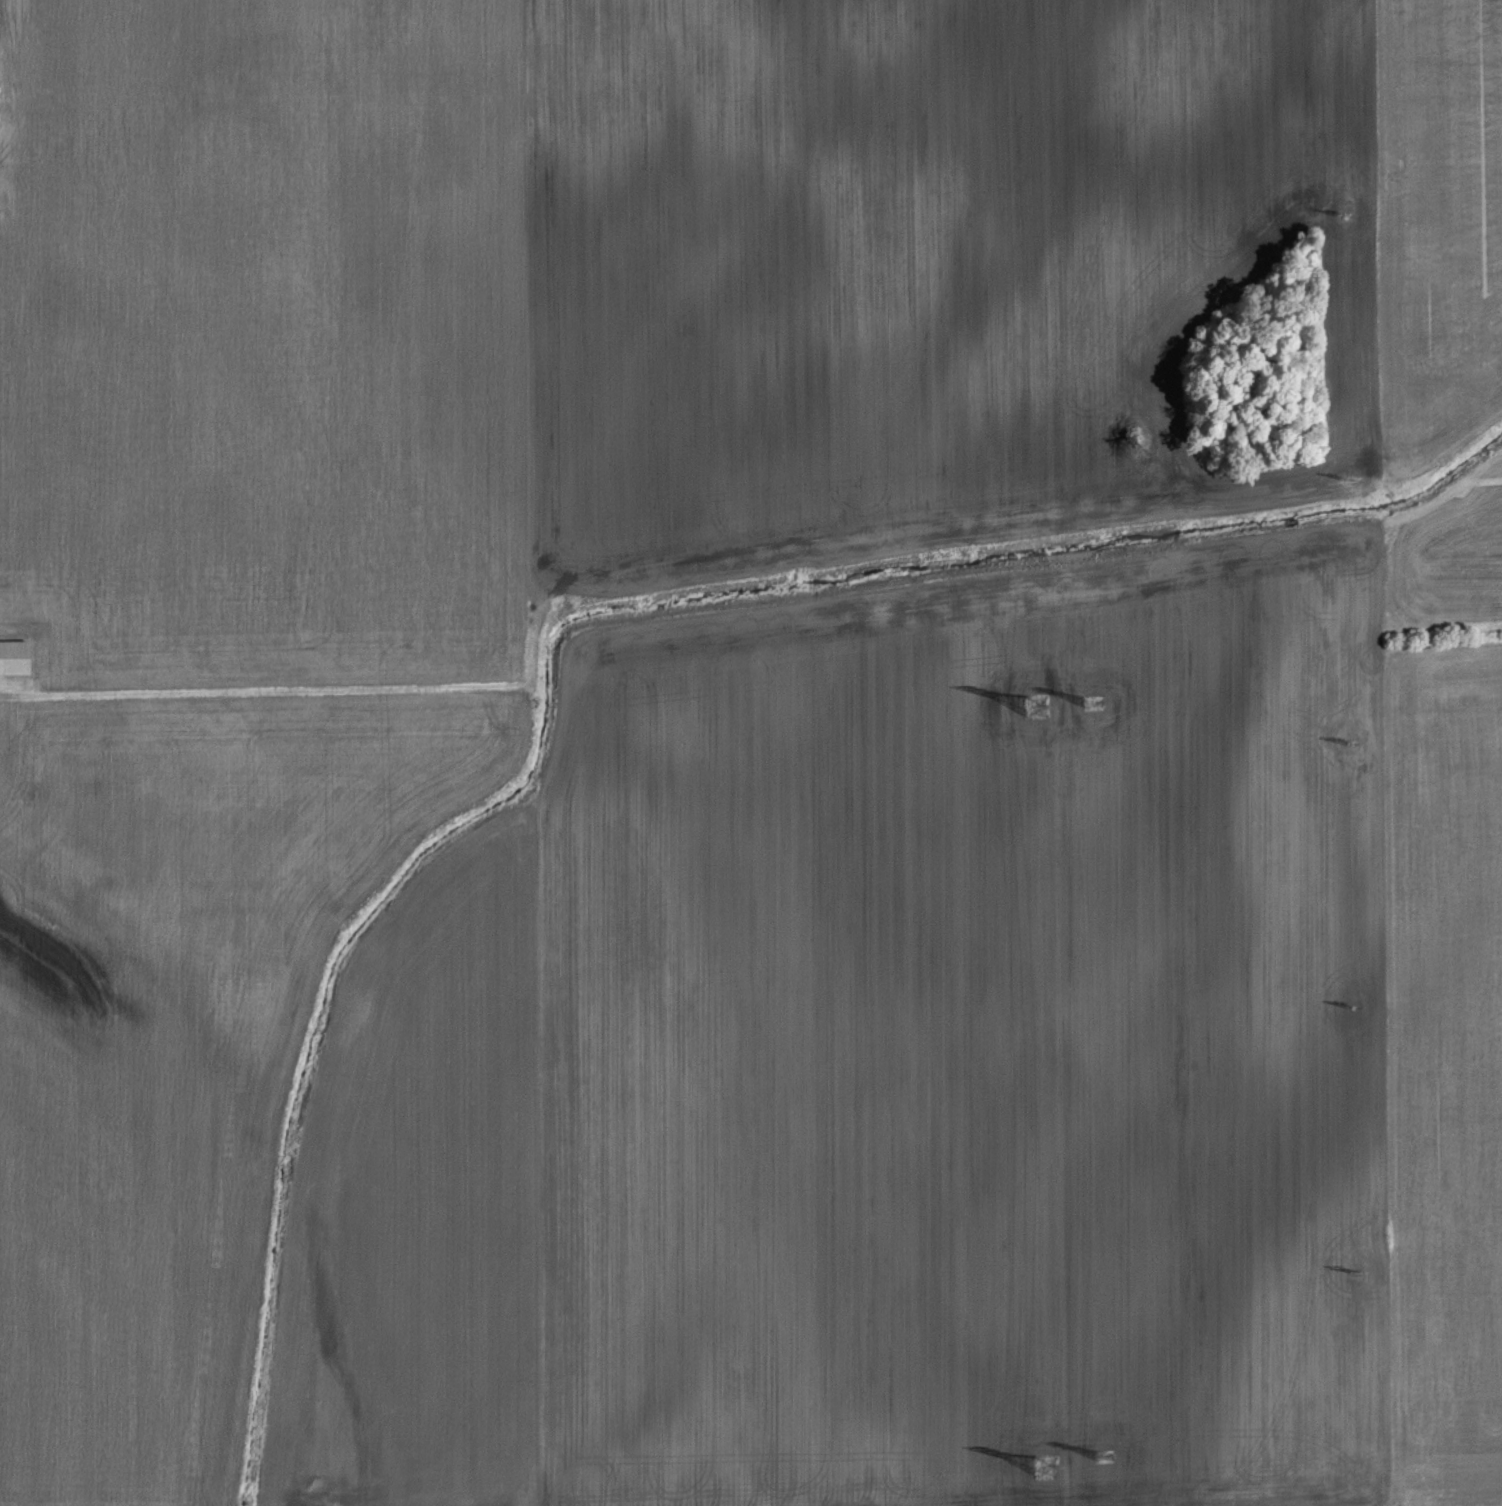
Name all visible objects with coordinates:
building: (15, 658)
power tower: (1036, 707)
power tower: (1046, 1468)

